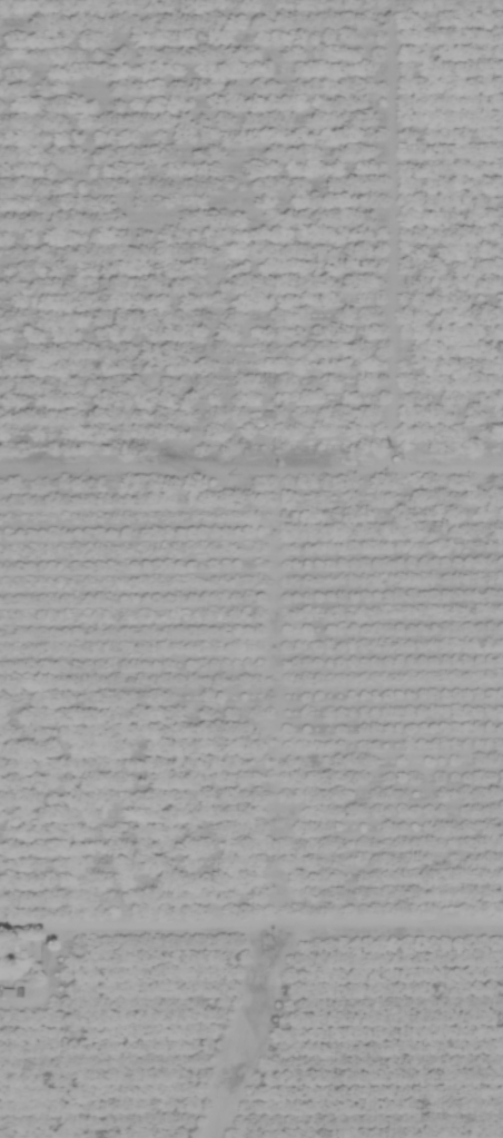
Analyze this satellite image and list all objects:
road: (250, 469)
building: (26, 989)

